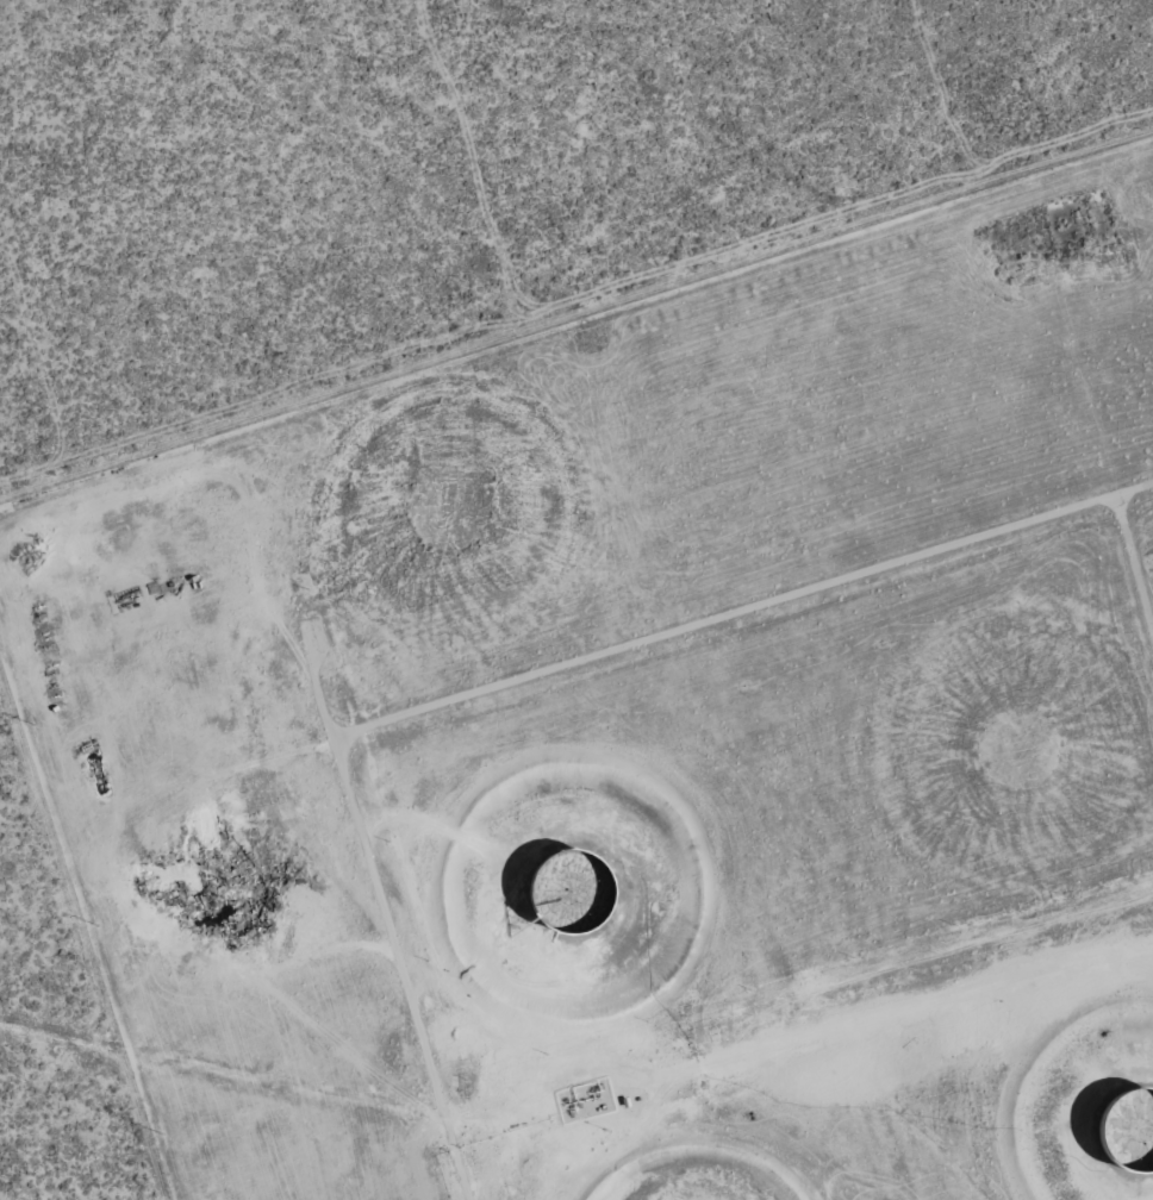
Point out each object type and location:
road: (1138, 582)
road: (563, 718)

